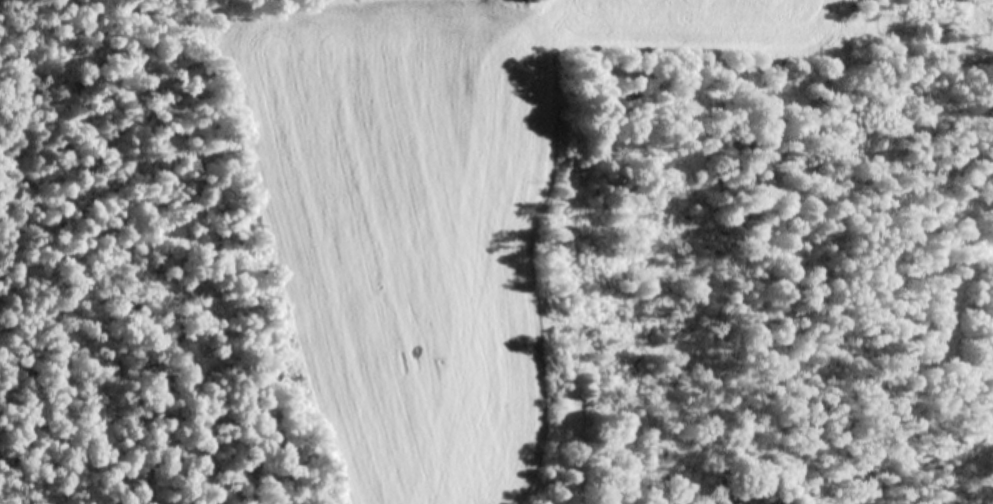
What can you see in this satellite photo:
park: (983, 331)

